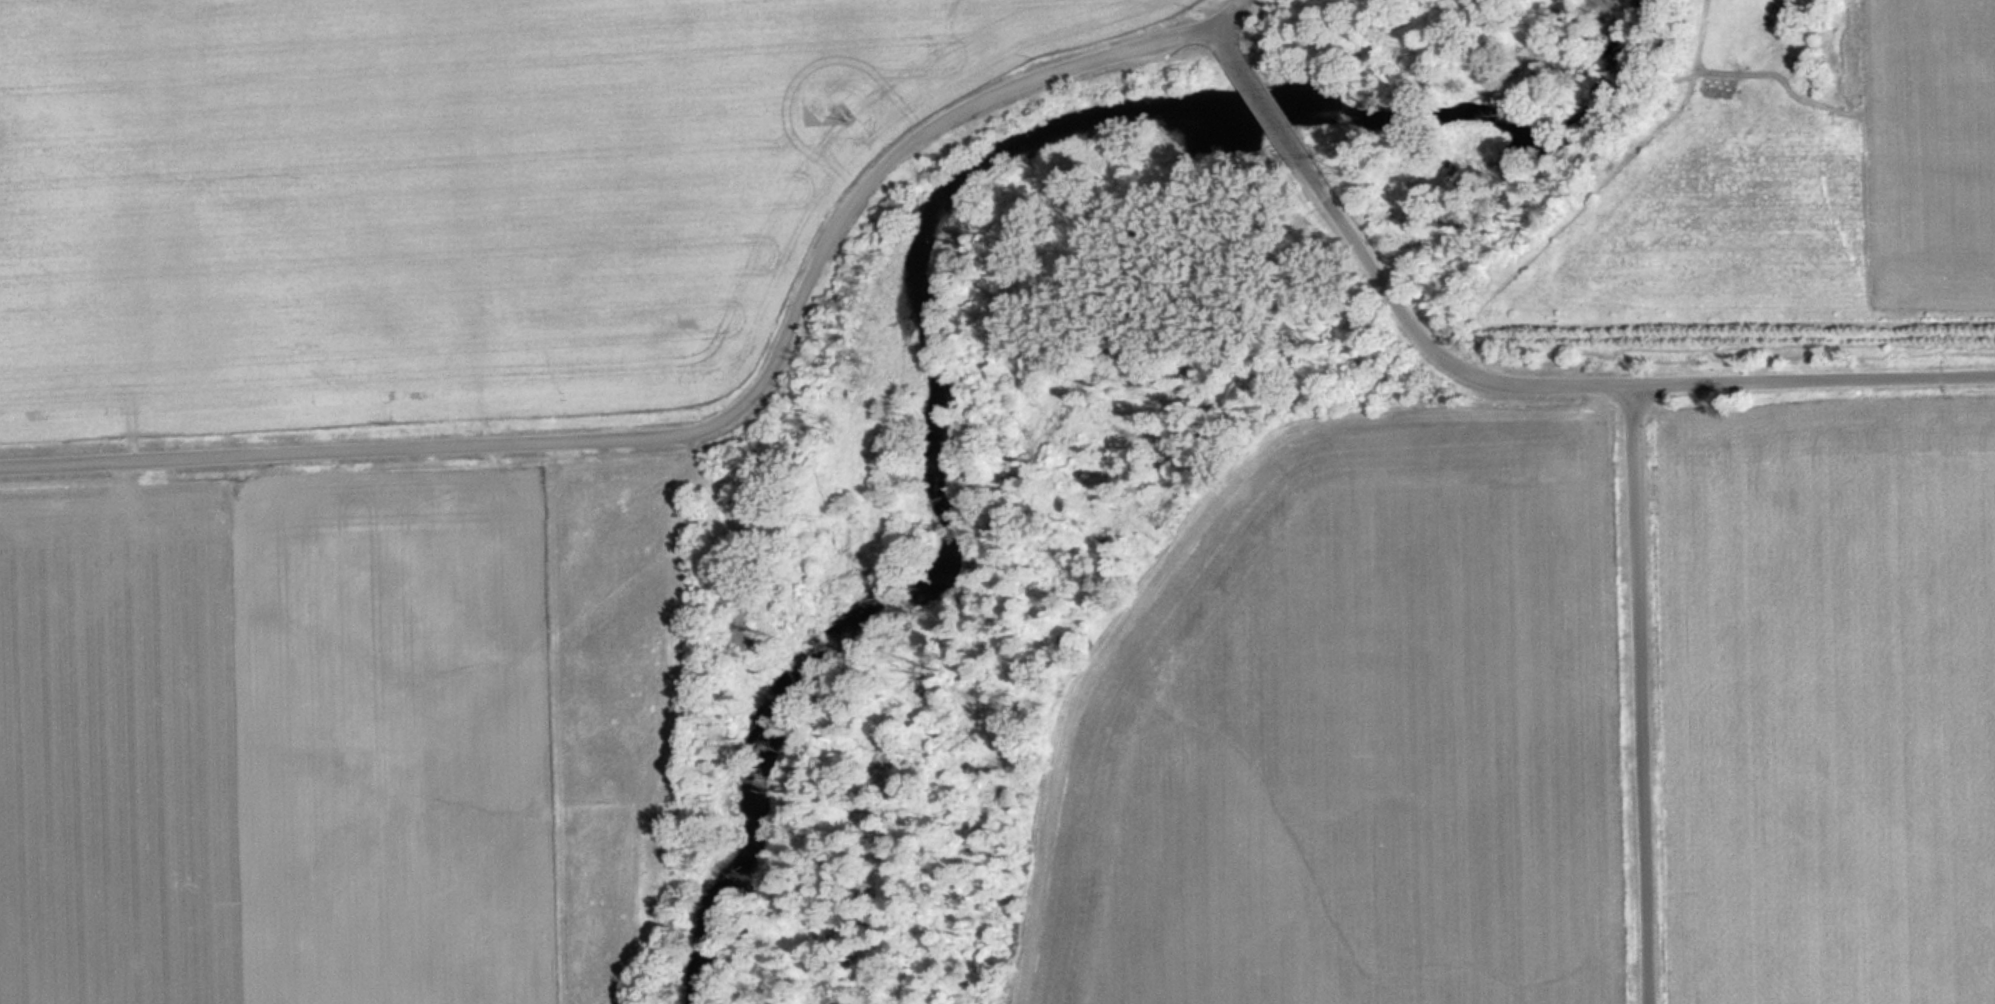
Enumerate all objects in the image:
road: (1240, 12)
road: (1245, 61)
road: (1280, 117)
river: (920, 230)
road: (1583, 385)
road: (702, 432)
road: (1650, 695)

